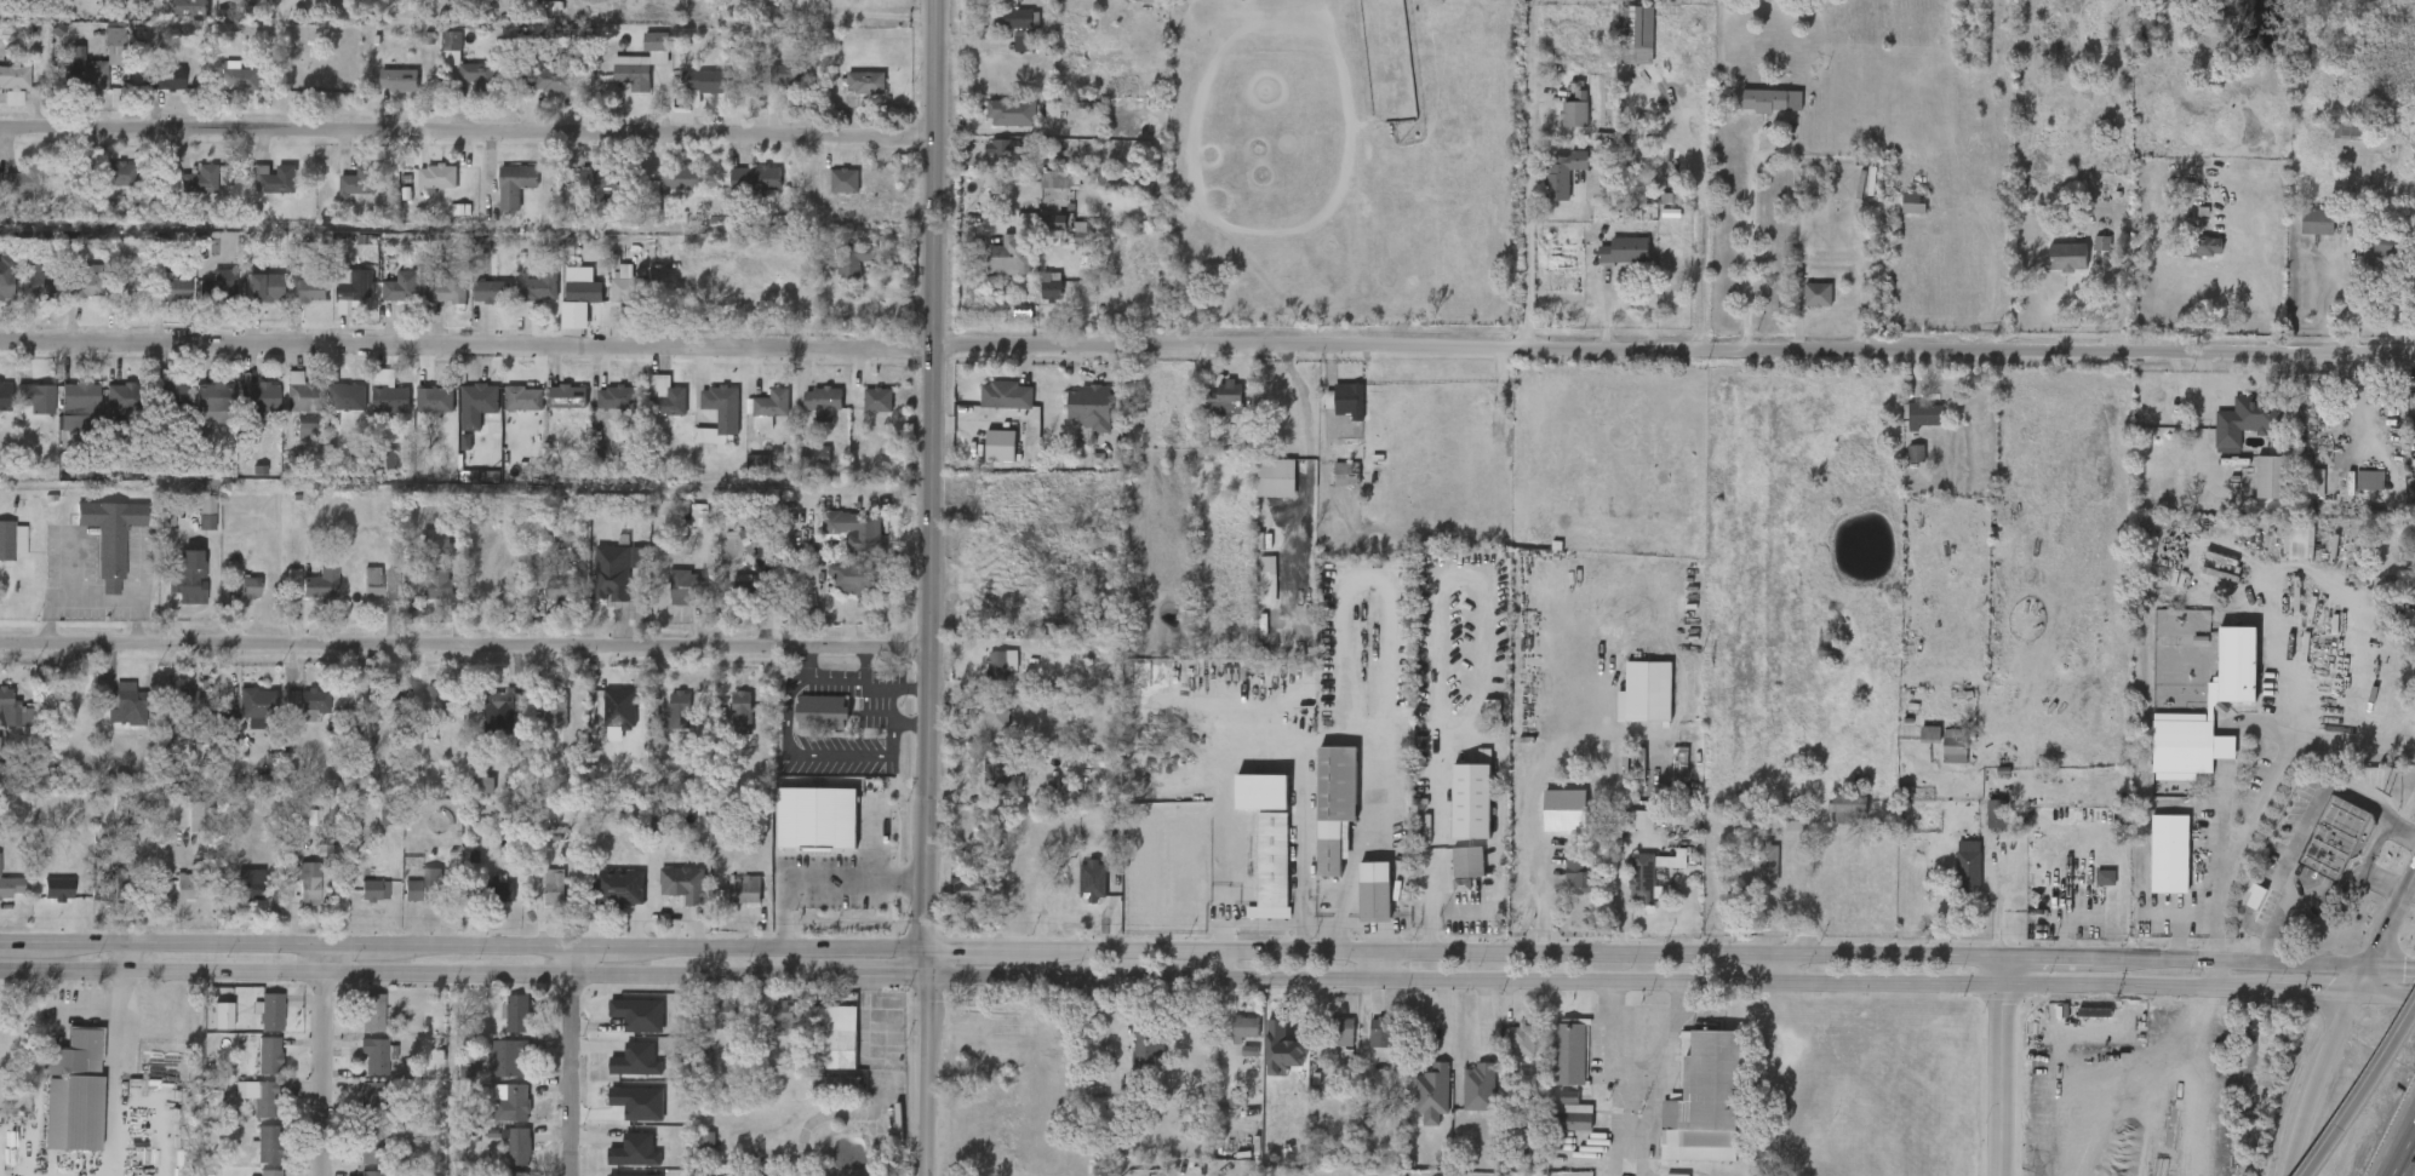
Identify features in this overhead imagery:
building: (863, 0)
building: (124, 6)
building: (172, 16)
building: (1019, 16)
building: (2148, 30)
building: (1002, 33)
building: (110, 36)
building: (1619, 39)
building: (1026, 41)
building: (1007, 53)
building: (97, 59)
building: (435, 61)
building: (464, 64)
building: (85, 69)
building: (630, 76)
building: (12, 78)
building: (162, 78)
building: (789, 78)
building: (234, 79)
building: (396, 80)
building: (551, 80)
building: (67, 82)
building: (703, 82)
building: (864, 82)
building: (463, 88)
building: (769, 88)
building: (221, 90)
building: (149, 92)
building: (383, 93)
building: (537, 93)
building: (689, 93)
building: (849, 96)
building: (10, 99)
building: (1772, 101)
building: (1612, 102)
building: (1013, 111)
building: (1575, 113)
building: (1753, 113)
building: (1558, 124)
building: (992, 126)
building: (2352, 130)
road: (467, 133)
building: (2331, 144)
building: (1002, 149)
building: (989, 164)
building: (109, 172)
building: (1562, 172)
building: (435, 177)
building: (270, 178)
building: (680, 178)
building: (22, 179)
building: (597, 179)
building: (752, 179)
road: (1529, 179)
building: (196, 180)
building: (357, 182)
building: (97, 185)
building: (513, 185)
building: (1545, 187)
building: (422, 189)
building: (12, 191)
building: (258, 191)
building: (582, 191)
building: (1043, 191)
building: (664, 193)
building: (739, 193)
building: (183, 194)
building: (828, 194)
building: (344, 195)
building: (499, 197)
building: (649, 197)
building: (636, 200)
building: (1913, 201)
building: (1896, 216)
building: (445, 222)
building: (2317, 222)
road: (1704, 226)
building: (2300, 235)
building: (1025, 240)
road: (1750, 246)
building: (2204, 246)
building: (1623, 249)
building: (2066, 256)
building: (2085, 257)
building: (852, 258)
building: (2186, 259)
building: (2370, 259)
building: (997, 262)
building: (1607, 263)
building: (2050, 269)
building: (837, 274)
road: (2265, 280)
building: (34, 281)
building: (5, 285)
building: (80, 285)
building: (216, 285)
building: (401, 285)
building: (262, 286)
building: (351, 286)
building: (446, 286)
building: (1052, 286)
building: (125, 288)
building: (168, 288)
building: (307, 288)
building: (534, 288)
building: (628, 289)
building: (491, 291)
building: (583, 291)
building: (19, 293)
building: (1816, 293)
building: (606, 297)
building: (109, 298)
building: (68, 299)
building: (201, 299)
building: (387, 299)
building: (1035, 299)
building: (246, 300)
building: (521, 300)
building: (567, 300)
building: (337, 302)
building: (431, 302)
building: (158, 303)
building: (292, 304)
building: (476, 304)
building: (1801, 308)
road: (459, 349)
road: (1666, 352)
building: (299, 392)
building: (664, 395)
building: (1009, 395)
building: (4, 396)
building: (33, 396)
building: (78, 396)
building: (120, 396)
building: (162, 396)
building: (211, 396)
building: (257, 396)
building: (345, 396)
building: (566, 396)
building: (477, 397)
building: (522, 397)
building: (611, 397)
building: (820, 397)
building: (1225, 397)
building: (390, 398)
building: (1347, 398)
building: (433, 400)
road: (2354, 401)
building: (875, 403)
building: (2163, 405)
building: (1089, 406)
building: (154, 407)
building: (286, 407)
building: (768, 407)
building: (373, 408)
building: (989, 408)
building: (2414, 408)
building: (331, 409)
building: (551, 409)
building: (651, 409)
building: (19, 411)
building: (600, 411)
building: (2257, 411)
building: (419, 412)
building: (463, 412)
building: (508, 412)
building: (862, 412)
building: (1208, 412)
building: (104, 413)
building: (241, 413)
building: (1329, 413)
building: (195, 414)
building: (807, 415)
building: (1924, 415)
building: (717, 417)
building: (62, 418)
building: (1075, 419)
building: (754, 421)
building: (1907, 429)
building: (703, 430)
building: (2224, 437)
building: (288, 441)
building: (816, 457)
building: (984, 458)
building: (1899, 466)
building: (799, 470)
building: (376, 471)
building: (1347, 474)
building: (742, 476)
building: (2272, 476)
building: (2369, 480)
building: (2313, 483)
building: (2414, 484)
building: (1329, 486)
building: (2253, 489)
building: (2352, 493)
building: (2297, 497)
building: (2405, 498)
building: (190, 526)
building: (853, 529)
building: (150, 532)
building: (108, 537)
building: (11, 540)
building: (840, 544)
building: (95, 550)
building: (422, 552)
building: (185, 579)
building: (853, 579)
building: (371, 581)
building: (436, 583)
building: (319, 585)
building: (248, 586)
building: (596, 586)
building: (682, 586)
building: (1003, 586)
building: (743, 587)
road: (914, 587)
building: (557, 589)
building: (834, 591)
building: (171, 593)
building: (418, 596)
building: (304, 597)
building: (233, 600)
building: (668, 600)
building: (732, 601)
building: (1251, 601)
building: (543, 602)
building: (2341, 632)
road: (456, 647)
building: (997, 662)
building: (2234, 664)
building: (984, 676)
road: (1478, 695)
building: (181, 698)
building: (313, 700)
building: (120, 701)
building: (437, 701)
building: (496, 702)
building: (1631, 704)
building: (370, 705)
building: (258, 707)
building: (681, 707)
building: (556, 709)
building: (176, 711)
building: (276, 711)
building: (12, 712)
building: (420, 712)
building: (740, 712)
building: (822, 712)
building: (996, 713)
building: (1475, 715)
building: (297, 717)
building: (356, 718)
building: (240, 719)
building: (483, 719)
building: (1299, 719)
building: (603, 721)
road: (2256, 721)
building: (544, 723)
building: (725, 724)
building: (806, 724)
building: (980, 728)
building: (7, 729)
building: (1930, 732)
building: (1283, 733)
building: (1956, 740)
building: (2187, 744)
road: (2226, 745)
building: (1913, 746)
building: (1938, 758)
building: (1001, 774)
building: (483, 781)
building: (983, 787)
building: (1066, 788)
road: (2262, 792)
building: (468, 793)
building: (1469, 799)
building: (1334, 805)
road: (2226, 809)
building: (1847, 810)
building: (1997, 813)
building: (198, 816)
building: (1631, 820)
building: (1797, 820)
building: (385, 821)
building: (1830, 821)
building: (1979, 821)
road: (2302, 826)
building: (178, 828)
building: (801, 830)
building: (1535, 830)
building: (1621, 832)
building: (642, 834)
building: (1780, 834)
building: (2335, 836)
road: (2376, 848)
building: (2169, 851)
building: (1467, 861)
building: (1767, 862)
building: (1968, 864)
building: (1271, 865)
building: (2152, 866)
building: (1580, 872)
building: (1452, 874)
building: (1749, 876)
building: (1642, 877)
building: (1093, 878)
building: (1951, 878)
building: (965, 879)
building: (1255, 879)
building: (682, 882)
building: (307, 883)
building: (423, 885)
building: (554, 885)
building: (10, 887)
building: (184, 887)
building: (55, 888)
building: (616, 888)
building: (1562, 888)
building: (744, 889)
building: (245, 890)
building: (372, 890)
building: (498, 890)
building: (1374, 890)
building: (2089, 890)
building: (1626, 891)
road: (2341, 891)
building: (1076, 893)
building: (2255, 894)
building: (105, 895)
road: (811, 895)
building: (291, 896)
building: (668, 896)
building: (168, 899)
building: (538, 899)
building: (41, 901)
building: (487, 901)
building: (728, 901)
building: (230, 902)
building: (357, 902)
building: (395, 903)
road: (1999, 903)
building: (1358, 905)
road: (1527, 905)
building: (2237, 910)
road: (1461, 911)
road: (2177, 919)
road: (2382, 925)
road: (1207, 953)
road: (130, 958)
road: (1227, 966)
road: (1383, 969)
road: (1776, 969)
road: (2215, 977)
road: (1207, 981)
road: (121, 992)
building: (271, 1010)
building: (373, 1010)
road: (1610, 1011)
building: (519, 1012)
building: (222, 1015)
building: (722, 1016)
building: (783, 1016)
building: (355, 1020)
building: (254, 1025)
building: (709, 1025)
building: (502, 1026)
building: (623, 1027)
building: (767, 1027)
building: (1339, 1027)
building: (206, 1028)
building: (1243, 1028)
building: (1523, 1028)
building: (1381, 1031)
building: (840, 1036)
building: (1229, 1040)
building: (1327, 1040)
building: (1366, 1045)
building: (823, 1049)
building: (1506, 1052)
building: (1567, 1052)
road: (1638, 1054)
building: (268, 1055)
building: (373, 1056)
building: (509, 1056)
building: (1126, 1057)
road: (331, 1060)
road: (40, 1061)
road: (571, 1061)
building: (1552, 1065)
building: (361, 1067)
building: (253, 1068)
road: (2002, 1068)
building: (493, 1071)
building: (620, 1072)
road: (2311, 1082)
building: (836, 1085)
building: (1478, 1086)
building: (73, 1091)
building: (1431, 1092)
road: (115, 1094)
building: (819, 1096)
building: (261, 1097)
road: (2360, 1097)
building: (1702, 1098)
building: (1463, 1100)
building: (511, 1102)
building: (1415, 1106)
building: (242, 1109)
building: (354, 1109)
building: (1552, 1109)
building: (496, 1115)
building: (370, 1123)
building: (1557, 1130)
road: (2394, 1137)
building: (268, 1143)
building: (519, 1145)
building: (692, 1153)
building: (252, 1157)
building: (503, 1158)
building: (618, 1161)
building: (269, 1172)
building: (370, 1172)
building: (516, 1174)

